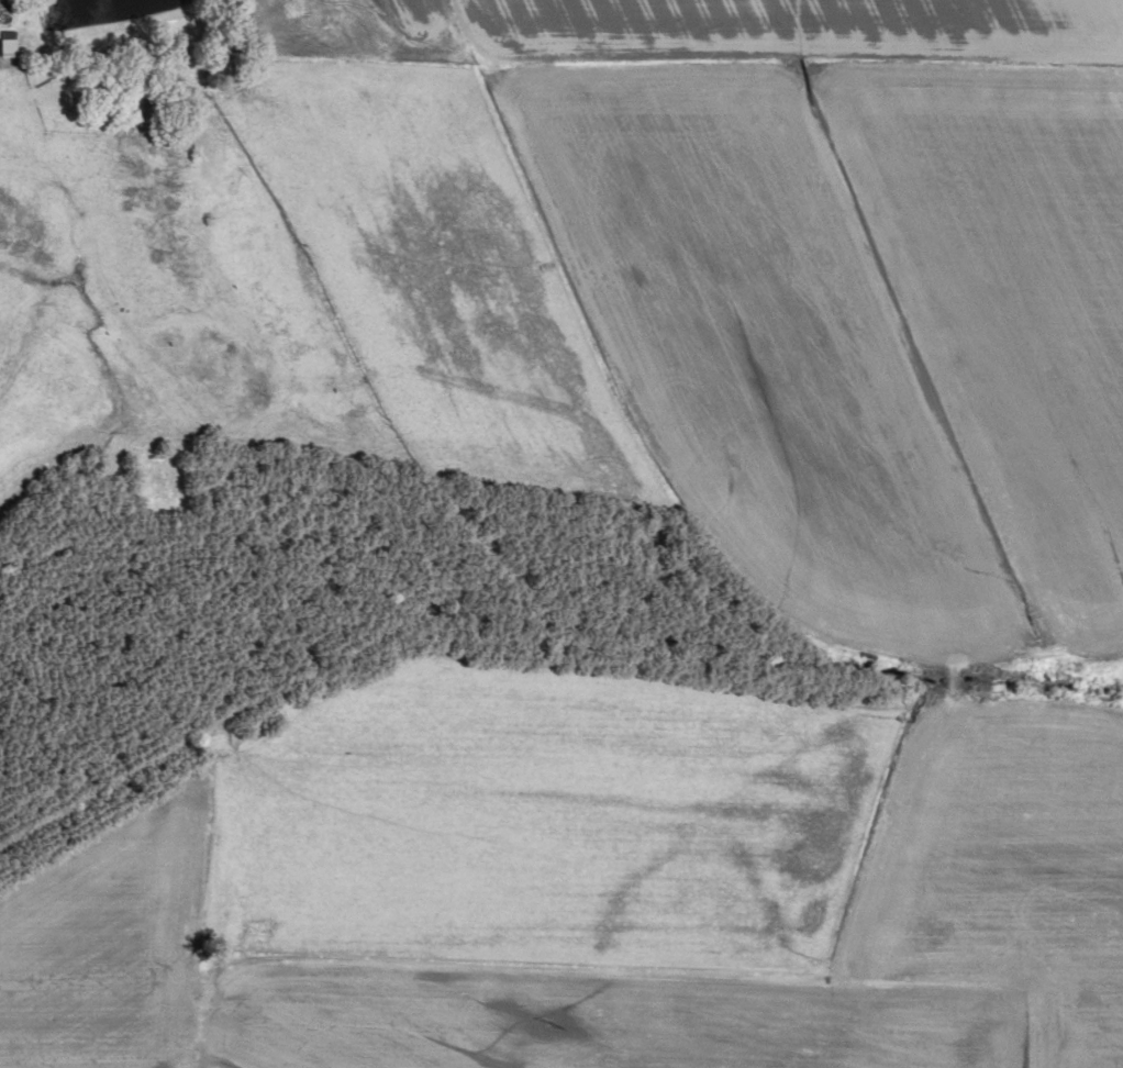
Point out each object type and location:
building: (12, 47)
road: (5, 300)

